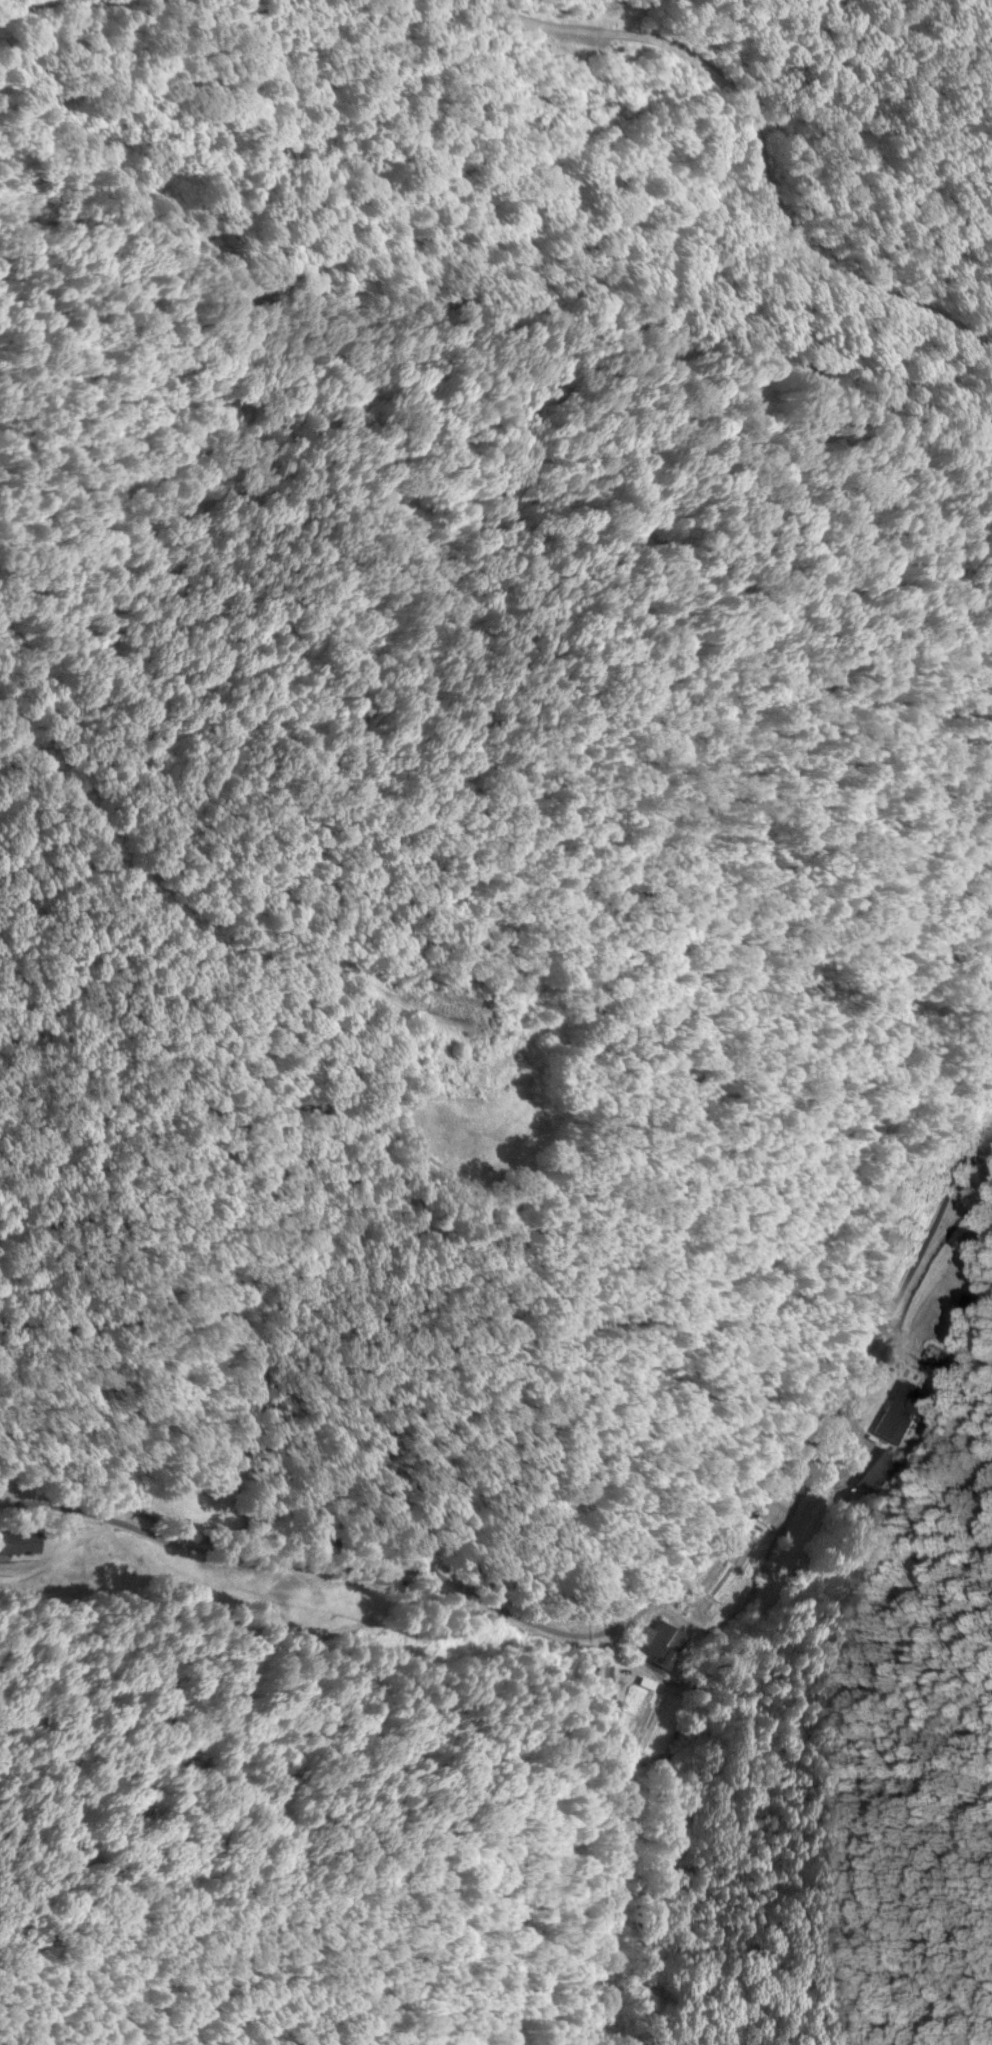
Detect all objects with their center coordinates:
building: (931, 1354)
building: (898, 1411)
building: (879, 1469)
road: (703, 1473)
building: (767, 1509)
building: (654, 1643)

